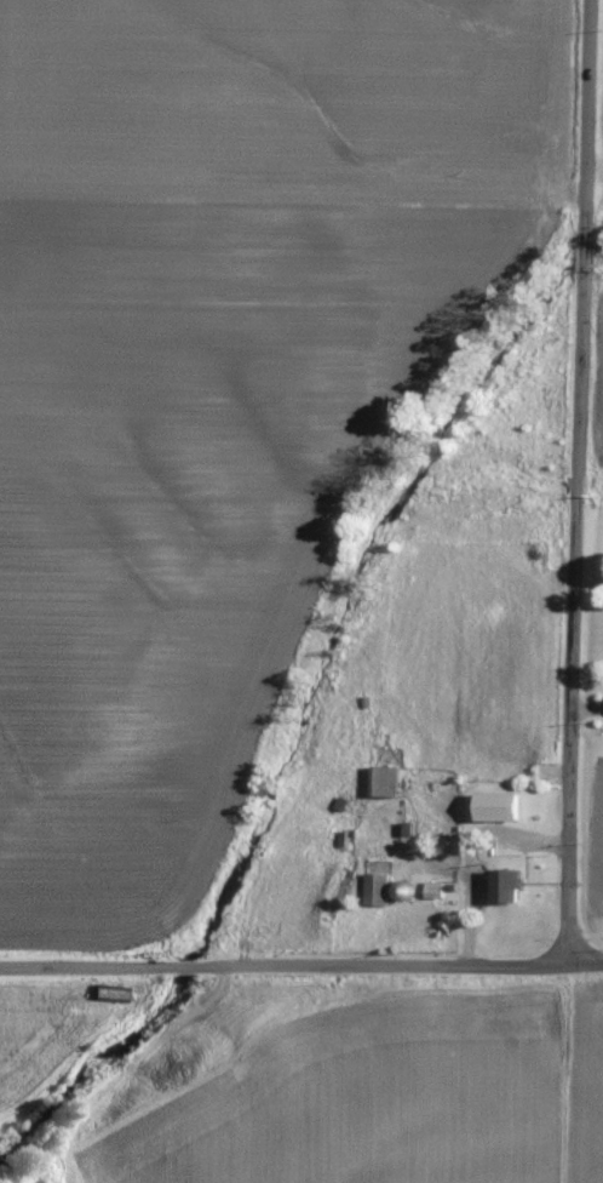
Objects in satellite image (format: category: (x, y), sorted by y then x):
road: (581, 484)
building: (389, 782)
building: (501, 806)
building: (509, 886)
building: (378, 890)
road: (301, 972)
crop: (588, 1082)

